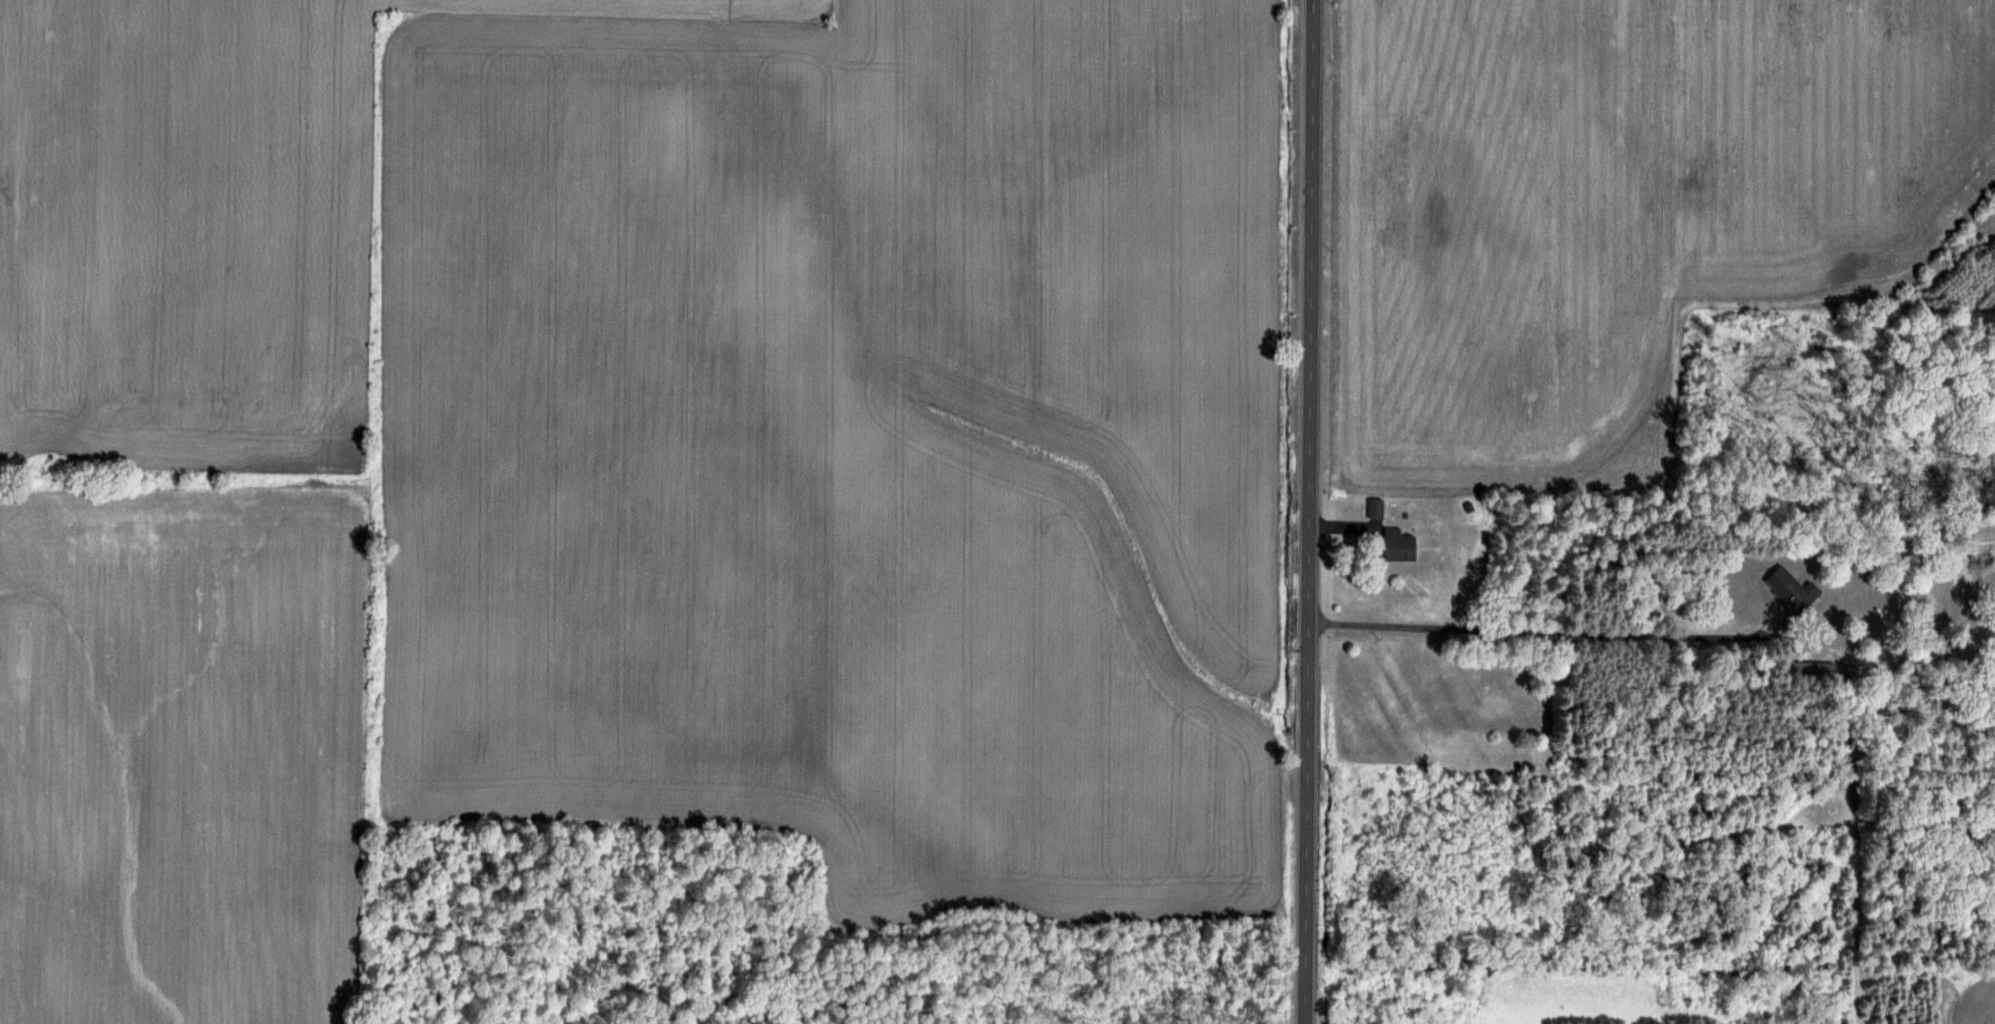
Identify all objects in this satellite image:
building: (1375, 508)
road: (1308, 511)
building: (1398, 545)
building: (1791, 589)
road: (1527, 630)
building: (1812, 668)

